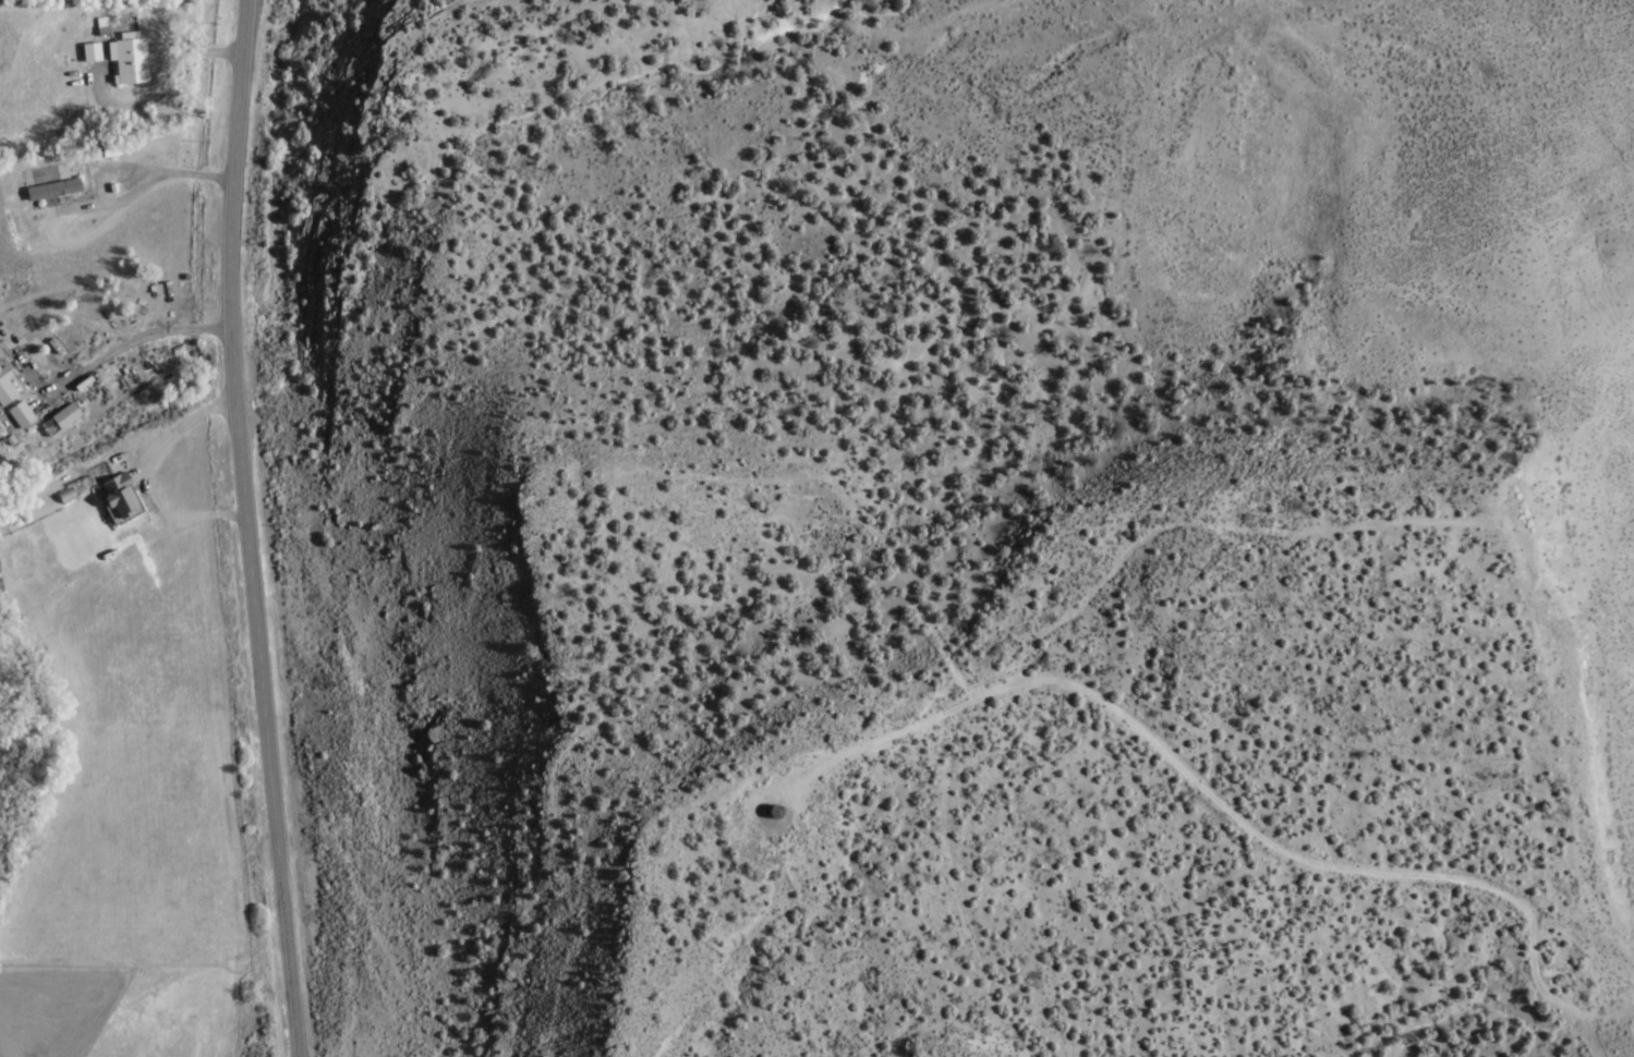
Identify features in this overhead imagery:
building: (89, 50)
building: (130, 58)
building: (52, 190)
building: (7, 387)
building: (23, 414)
building: (69, 415)
building: (118, 500)
road: (243, 527)
road: (1024, 647)
building: (772, 812)

